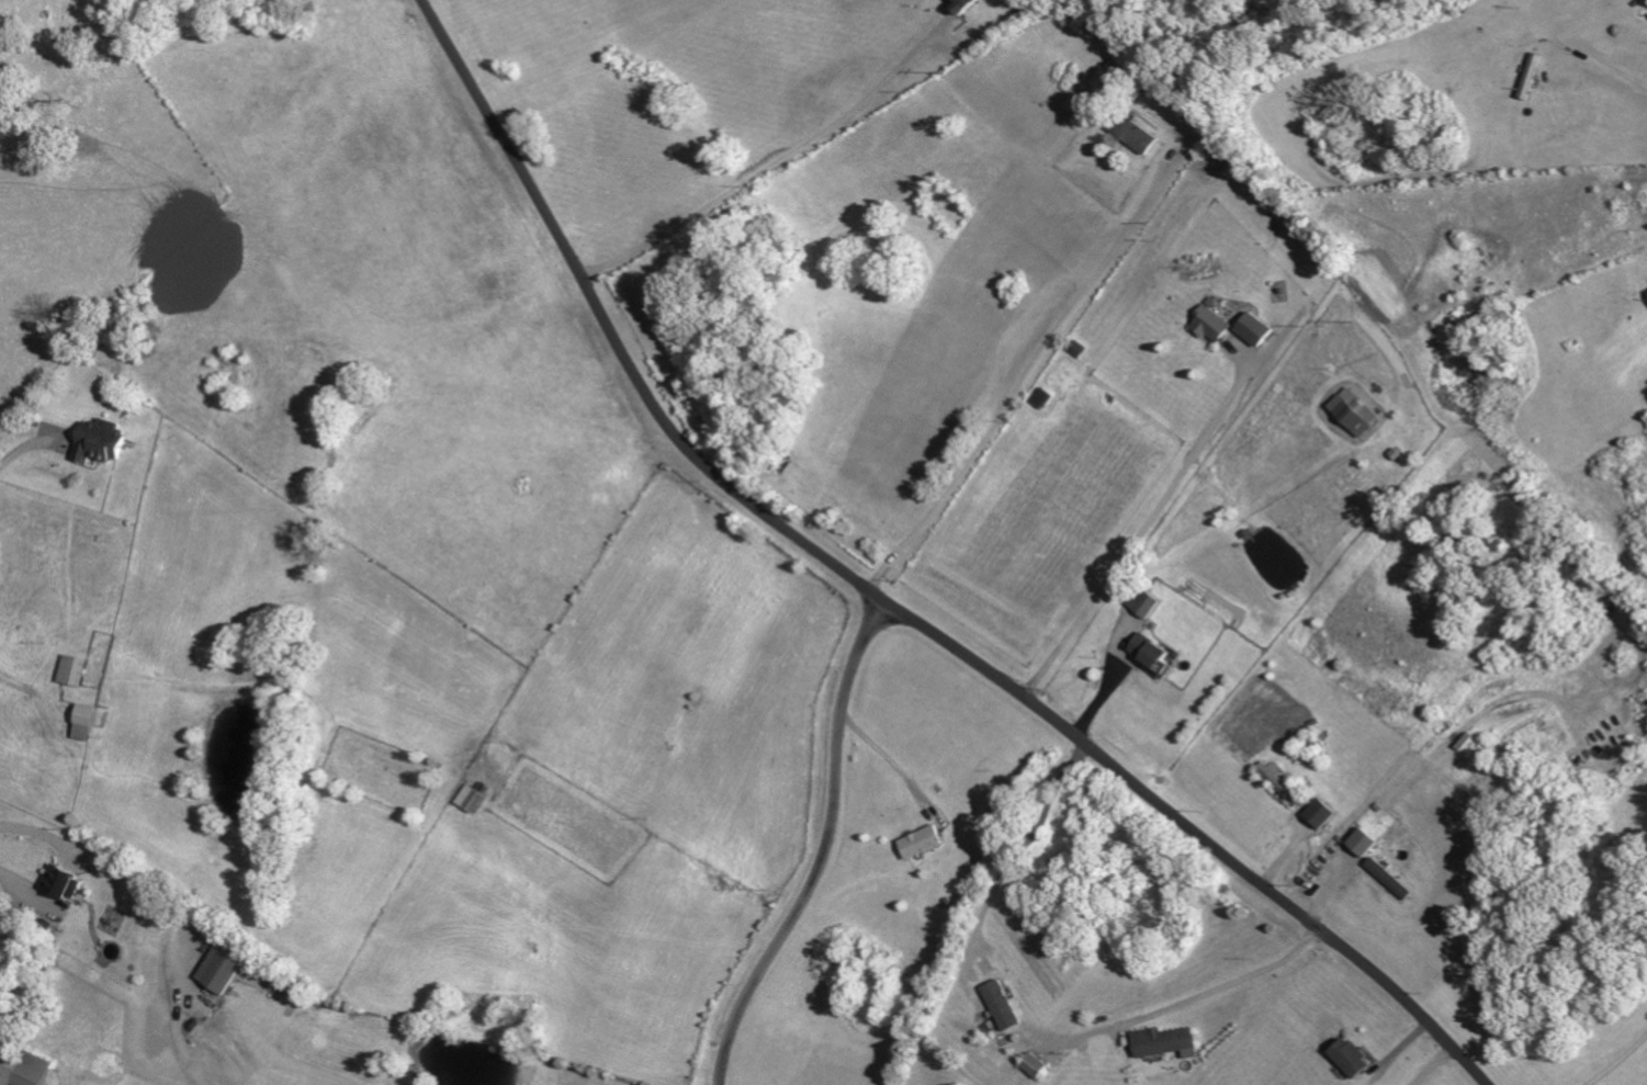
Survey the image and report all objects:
building: (966, 4)
road: (1607, 66)
building: (1135, 134)
road: (767, 167)
building: (1212, 325)
building: (1254, 329)
road: (1023, 376)
building: (1046, 399)
building: (1355, 412)
building: (101, 441)
road: (24, 447)
road: (1146, 522)
road: (883, 601)
building: (1150, 604)
building: (1155, 654)
building: (74, 669)
road: (27, 689)
building: (87, 722)
road: (882, 756)
building: (1284, 781)
building: (472, 798)
building: (1327, 813)
building: (923, 841)
building: (1368, 841)
road: (1022, 849)
road: (825, 851)
building: (1395, 879)
road: (23, 882)
building: (66, 883)
building: (222, 969)
road: (1228, 984)
building: (1007, 1005)
building: (1171, 1042)
building: (1354, 1056)
road: (1618, 1061)
building: (1039, 1065)
building: (23, 1070)

